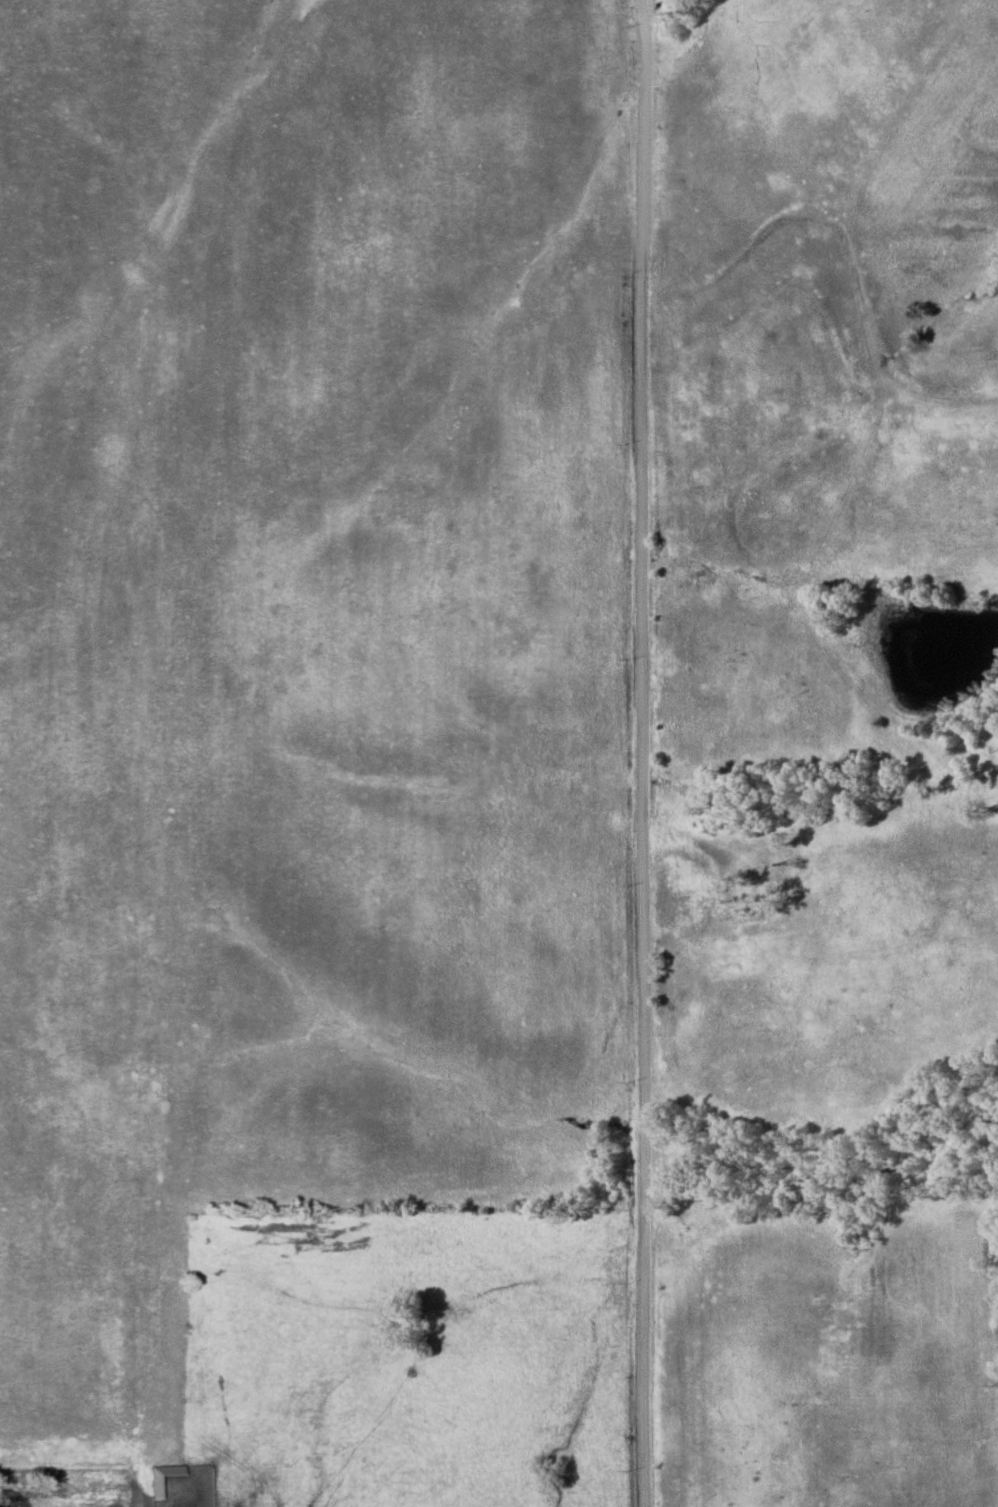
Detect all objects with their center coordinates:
road: (641, 753)

